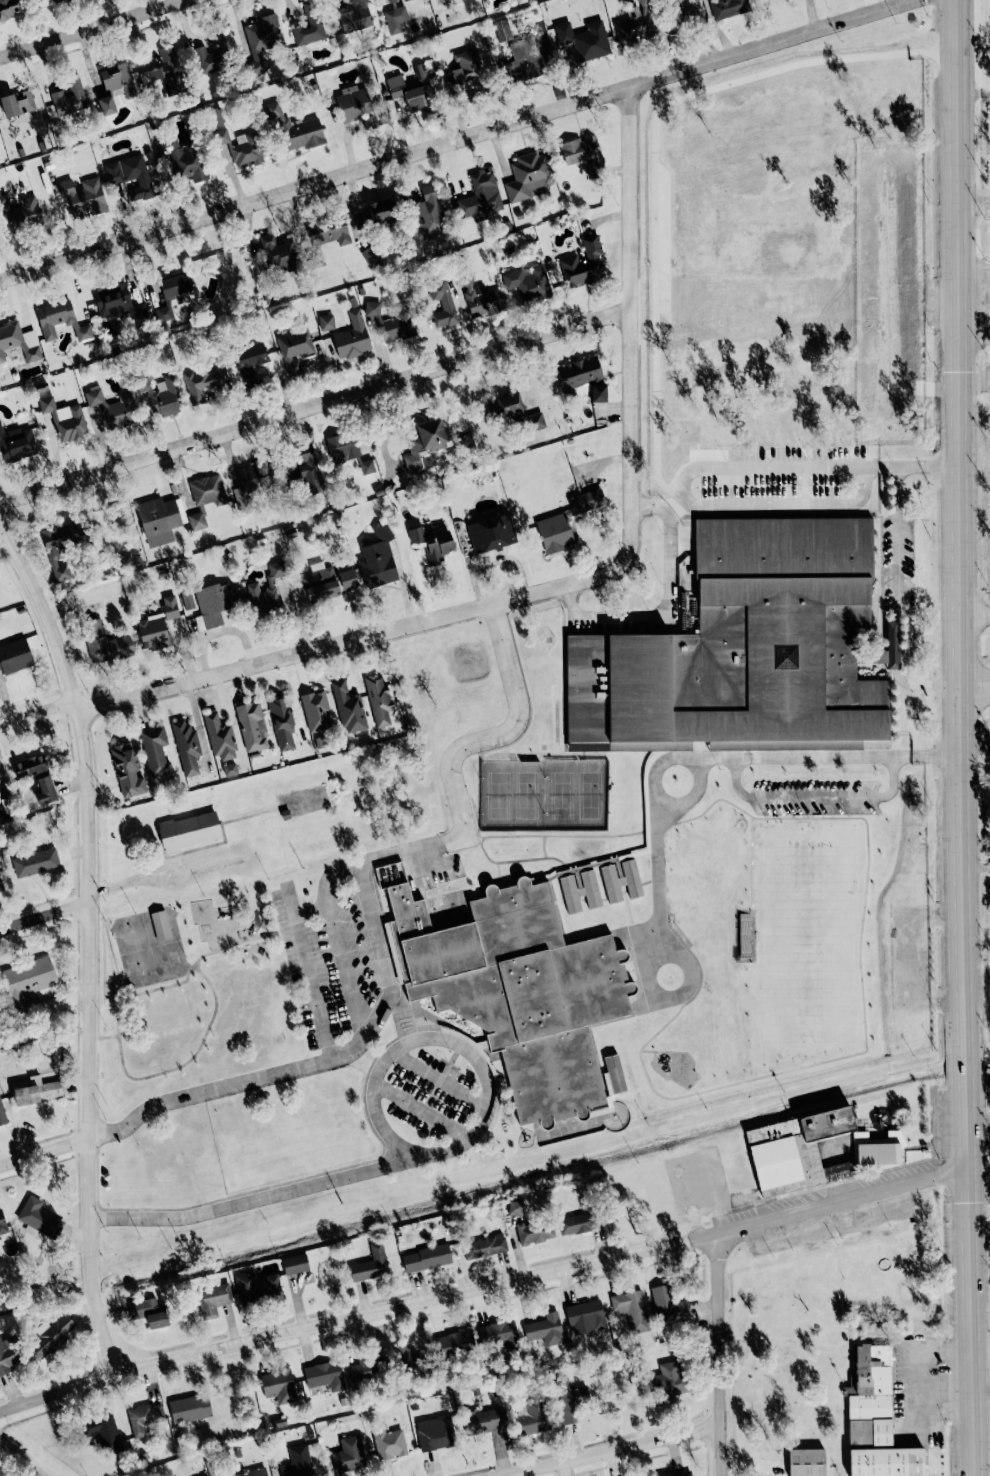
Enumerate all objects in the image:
building: (55, 0)
building: (391, 0)
building: (403, 0)
road: (184, 1)
road: (904, 1)
building: (9, 7)
building: (727, 8)
road: (859, 8)
building: (682, 10)
road: (812, 15)
building: (355, 16)
building: (390, 16)
building: (636, 23)
building: (310, 25)
road: (95, 29)
building: (261, 39)
building: (585, 39)
building: (212, 54)
building: (466, 66)
building: (522, 66)
building: (170, 68)
building: (155, 73)
building: (118, 78)
building: (395, 86)
building: (419, 91)
building: (69, 97)
building: (19, 105)
building: (106, 105)
building: (356, 105)
building: (216, 115)
building: (294, 127)
road: (457, 138)
building: (240, 147)
building: (583, 153)
building: (183, 158)
building: (528, 175)
building: (131, 176)
building: (479, 196)
building: (83, 197)
road: (974, 204)
building: (19, 213)
building: (377, 213)
building: (429, 214)
building: (329, 232)
building: (278, 253)
building: (583, 264)
building: (529, 283)
building: (173, 295)
building: (481, 297)
building: (120, 304)
building: (440, 305)
building: (372, 308)
road: (795, 309)
building: (60, 320)
building: (326, 322)
building: (397, 325)
building: (352, 337)
building: (19, 341)
building: (294, 348)
building: (249, 362)
building: (579, 372)
building: (204, 383)
building: (598, 393)
building: (165, 397)
building: (46, 403)
building: (506, 404)
road: (315, 405)
building: (113, 408)
building: (536, 421)
building: (71, 422)
building: (424, 441)
building: (16, 443)
building: (344, 447)
road: (929, 463)
road: (882, 464)
building: (308, 468)
road: (684, 481)
building: (251, 484)
building: (205, 498)
road: (656, 505)
building: (159, 519)
building: (566, 520)
building: (491, 533)
building: (433, 542)
building: (53, 555)
building: (378, 559)
building: (348, 579)
road: (583, 579)
building: (321, 582)
building: (266, 591)
road: (908, 594)
building: (187, 599)
building: (214, 602)
road: (975, 613)
building: (157, 625)
building: (105, 642)
building: (893, 644)
building: (746, 645)
building: (15, 655)
building: (878, 656)
road: (975, 684)
building: (378, 699)
building: (348, 708)
road: (38, 710)
building: (316, 711)
building: (282, 722)
building: (252, 726)
building: (220, 737)
road: (961, 738)
building: (187, 747)
building: (155, 750)
road: (826, 758)
building: (29, 766)
building: (230, 769)
building: (127, 771)
road: (652, 782)
building: (45, 790)
road: (814, 798)
building: (0, 799)
building: (189, 830)
road: (442, 839)
building: (35, 862)
road: (657, 875)
building: (621, 881)
building: (1, 886)
building: (580, 891)
road: (311, 912)
road: (44, 915)
building: (161, 925)
road: (87, 943)
road: (978, 964)
road: (308, 972)
road: (645, 979)
building: (27, 981)
building: (518, 988)
road: (117, 1029)
road: (102, 1037)
road: (314, 1063)
road: (439, 1078)
road: (374, 1083)
building: (37, 1091)
road: (421, 1110)
building: (2, 1114)
road: (388, 1147)
road: (43, 1152)
road: (263, 1197)
building: (515, 1208)
building: (40, 1218)
building: (2, 1220)
building: (574, 1224)
building: (535, 1231)
road: (982, 1232)
building: (484, 1247)
building: (426, 1258)
building: (295, 1264)
building: (370, 1264)
road: (484, 1286)
building: (257, 1287)
building: (213, 1299)
building: (668, 1304)
building: (631, 1309)
building: (149, 1312)
building: (586, 1314)
building: (545, 1329)
building: (499, 1335)
building: (53, 1336)
building: (455, 1343)
road: (983, 1349)
road: (721, 1353)
building: (8, 1354)
building: (411, 1360)
road: (916, 1361)
building: (366, 1370)
building: (324, 1375)
building: (671, 1379)
building: (279, 1385)
building: (570, 1400)
building: (190, 1408)
building: (144, 1417)
building: (533, 1417)
building: (875, 1419)
building: (483, 1420)
building: (104, 1432)
building: (435, 1433)
building: (389, 1443)
building: (349, 1454)
road: (626, 1454)
building: (298, 1462)
building: (806, 1462)
building: (211, 1469)
building: (250, 1473)
road: (984, 1473)
building: (681, 1474)

